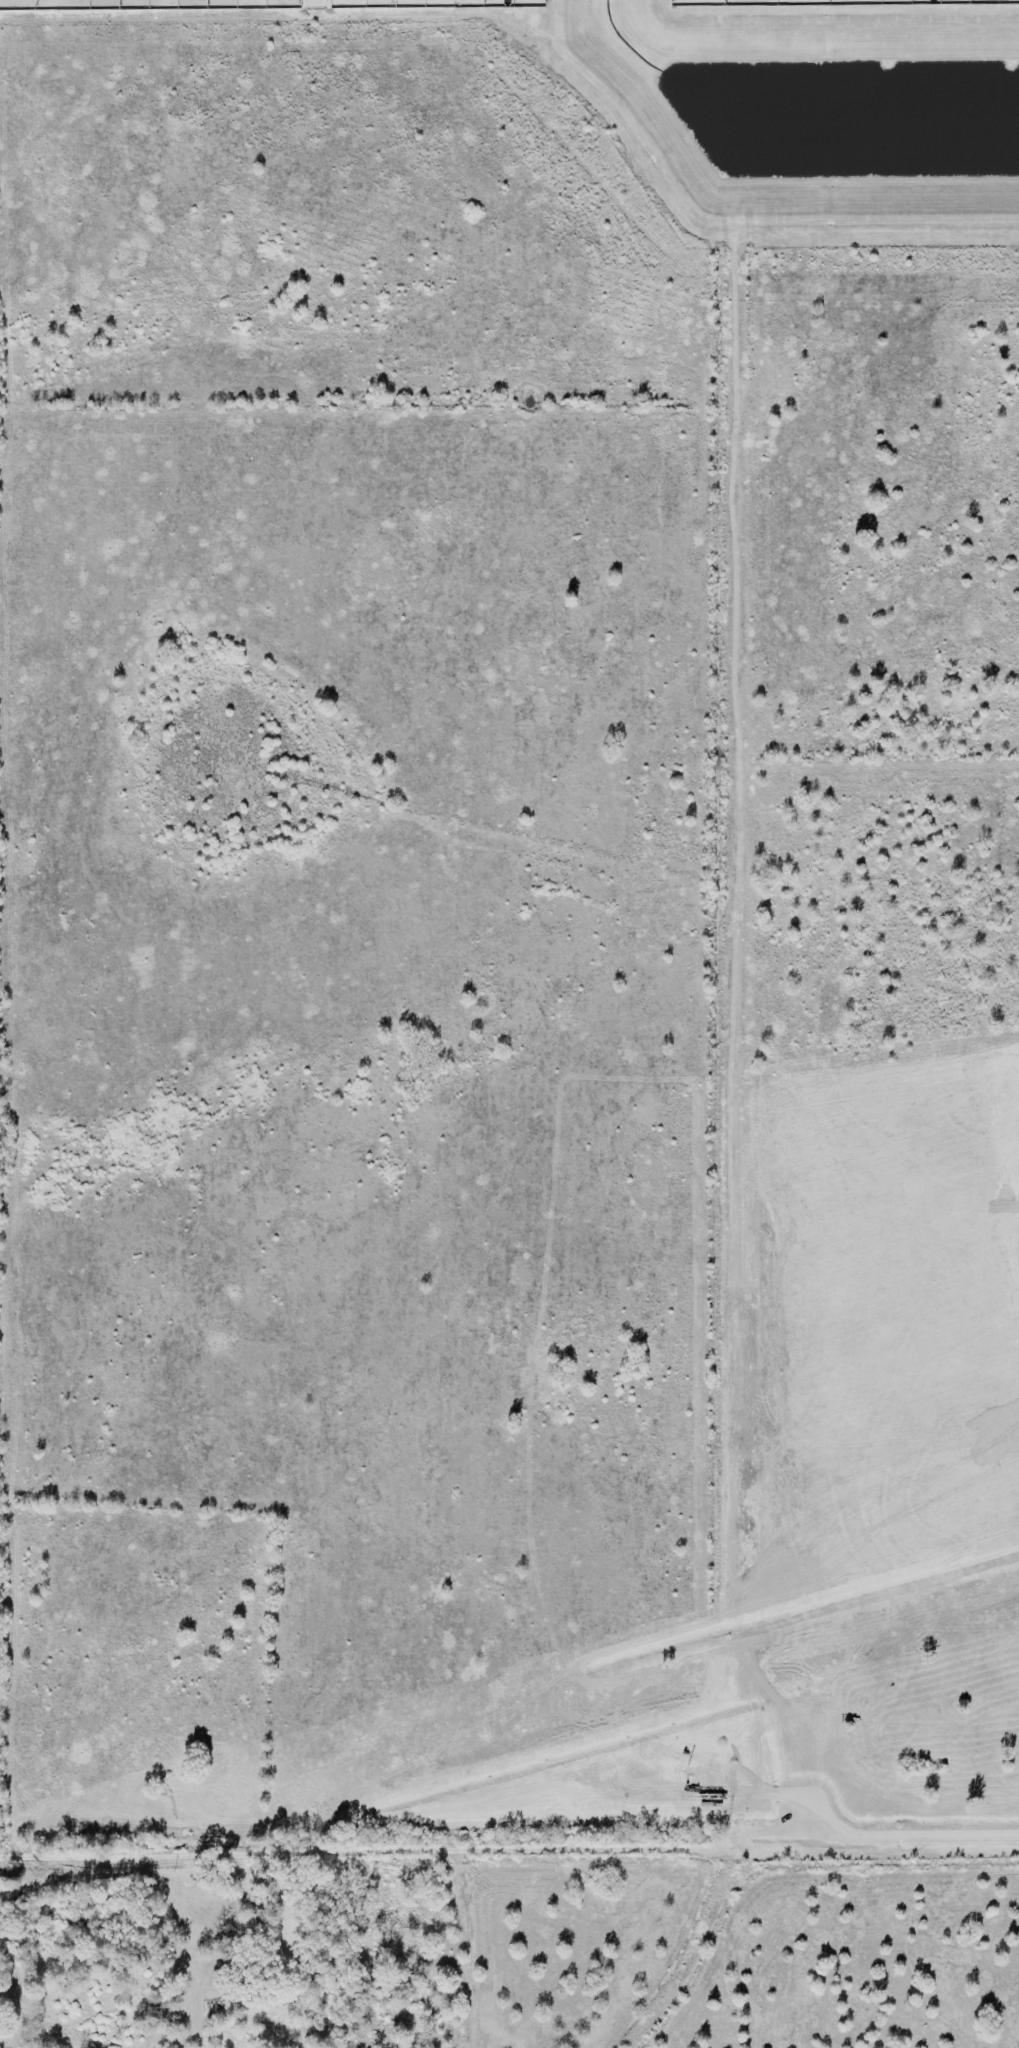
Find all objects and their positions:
road: (314, 3)
road: (902, 319)
road: (827, 398)
road: (796, 627)
road: (226, 1860)

